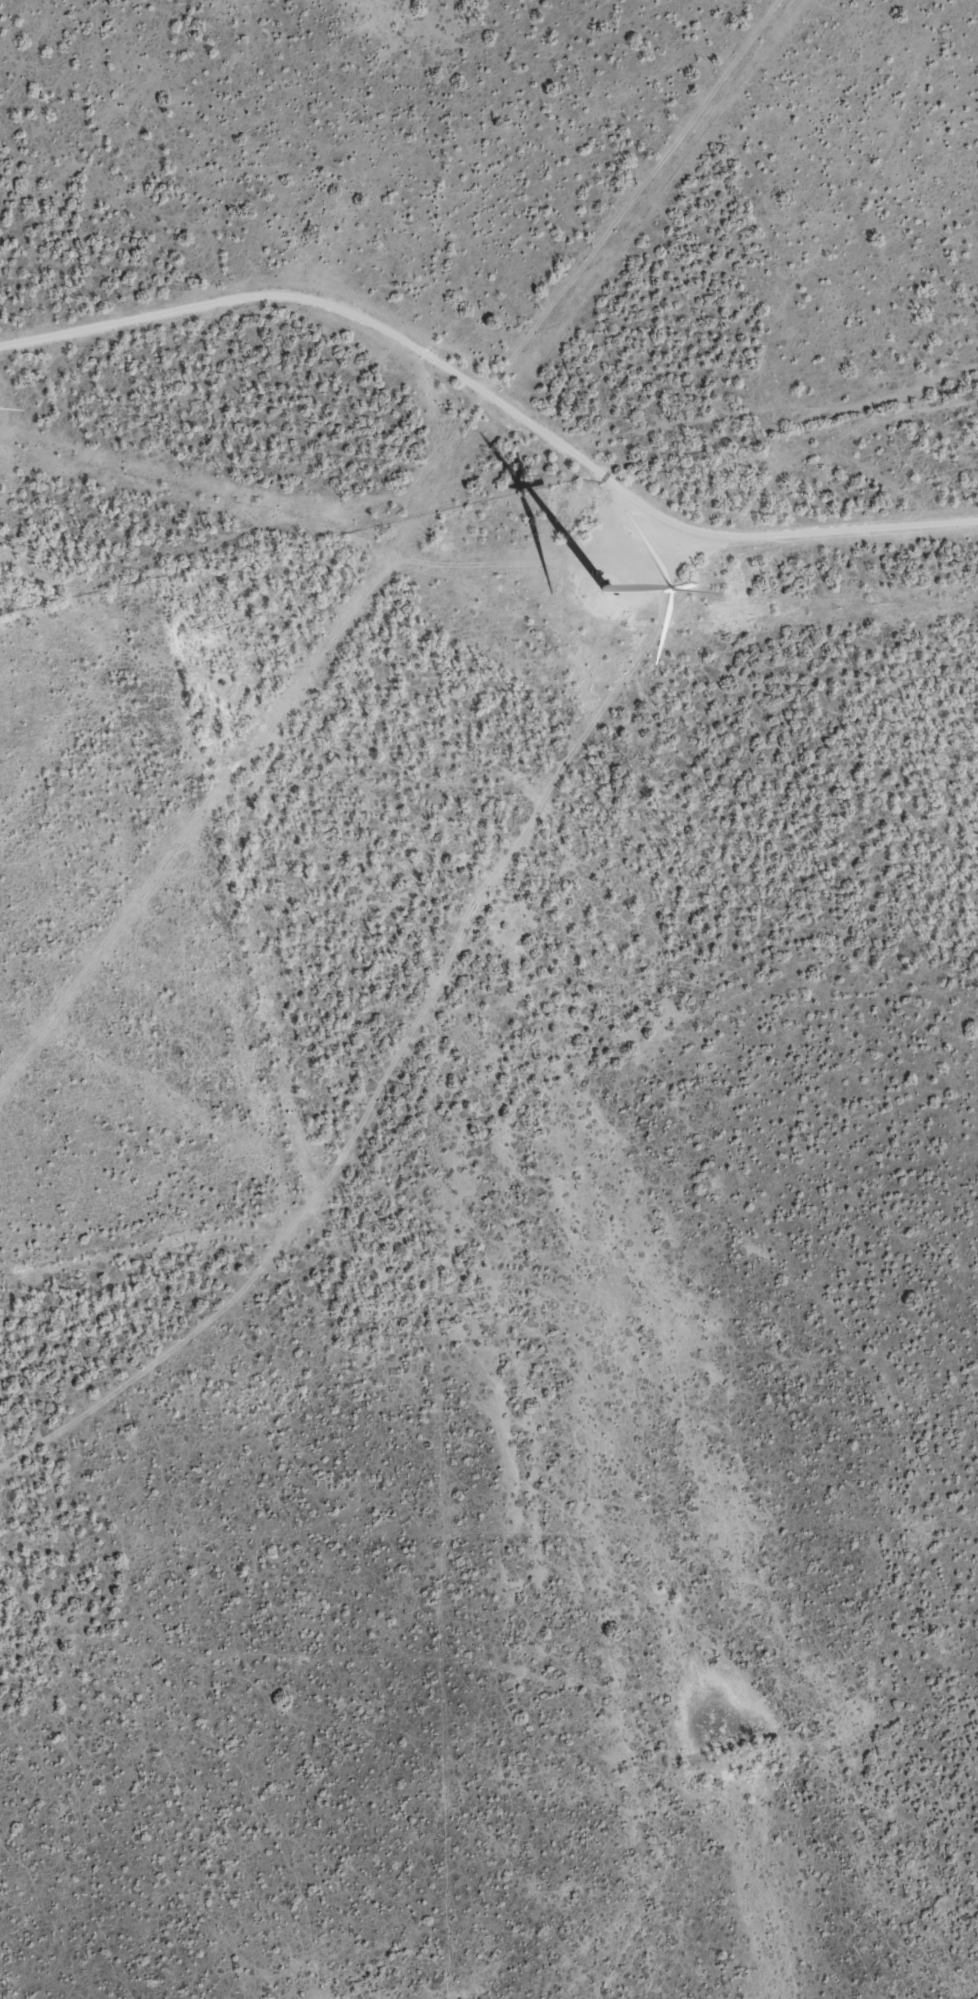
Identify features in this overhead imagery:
wind turbine: (597, 577)
road: (576, 844)

